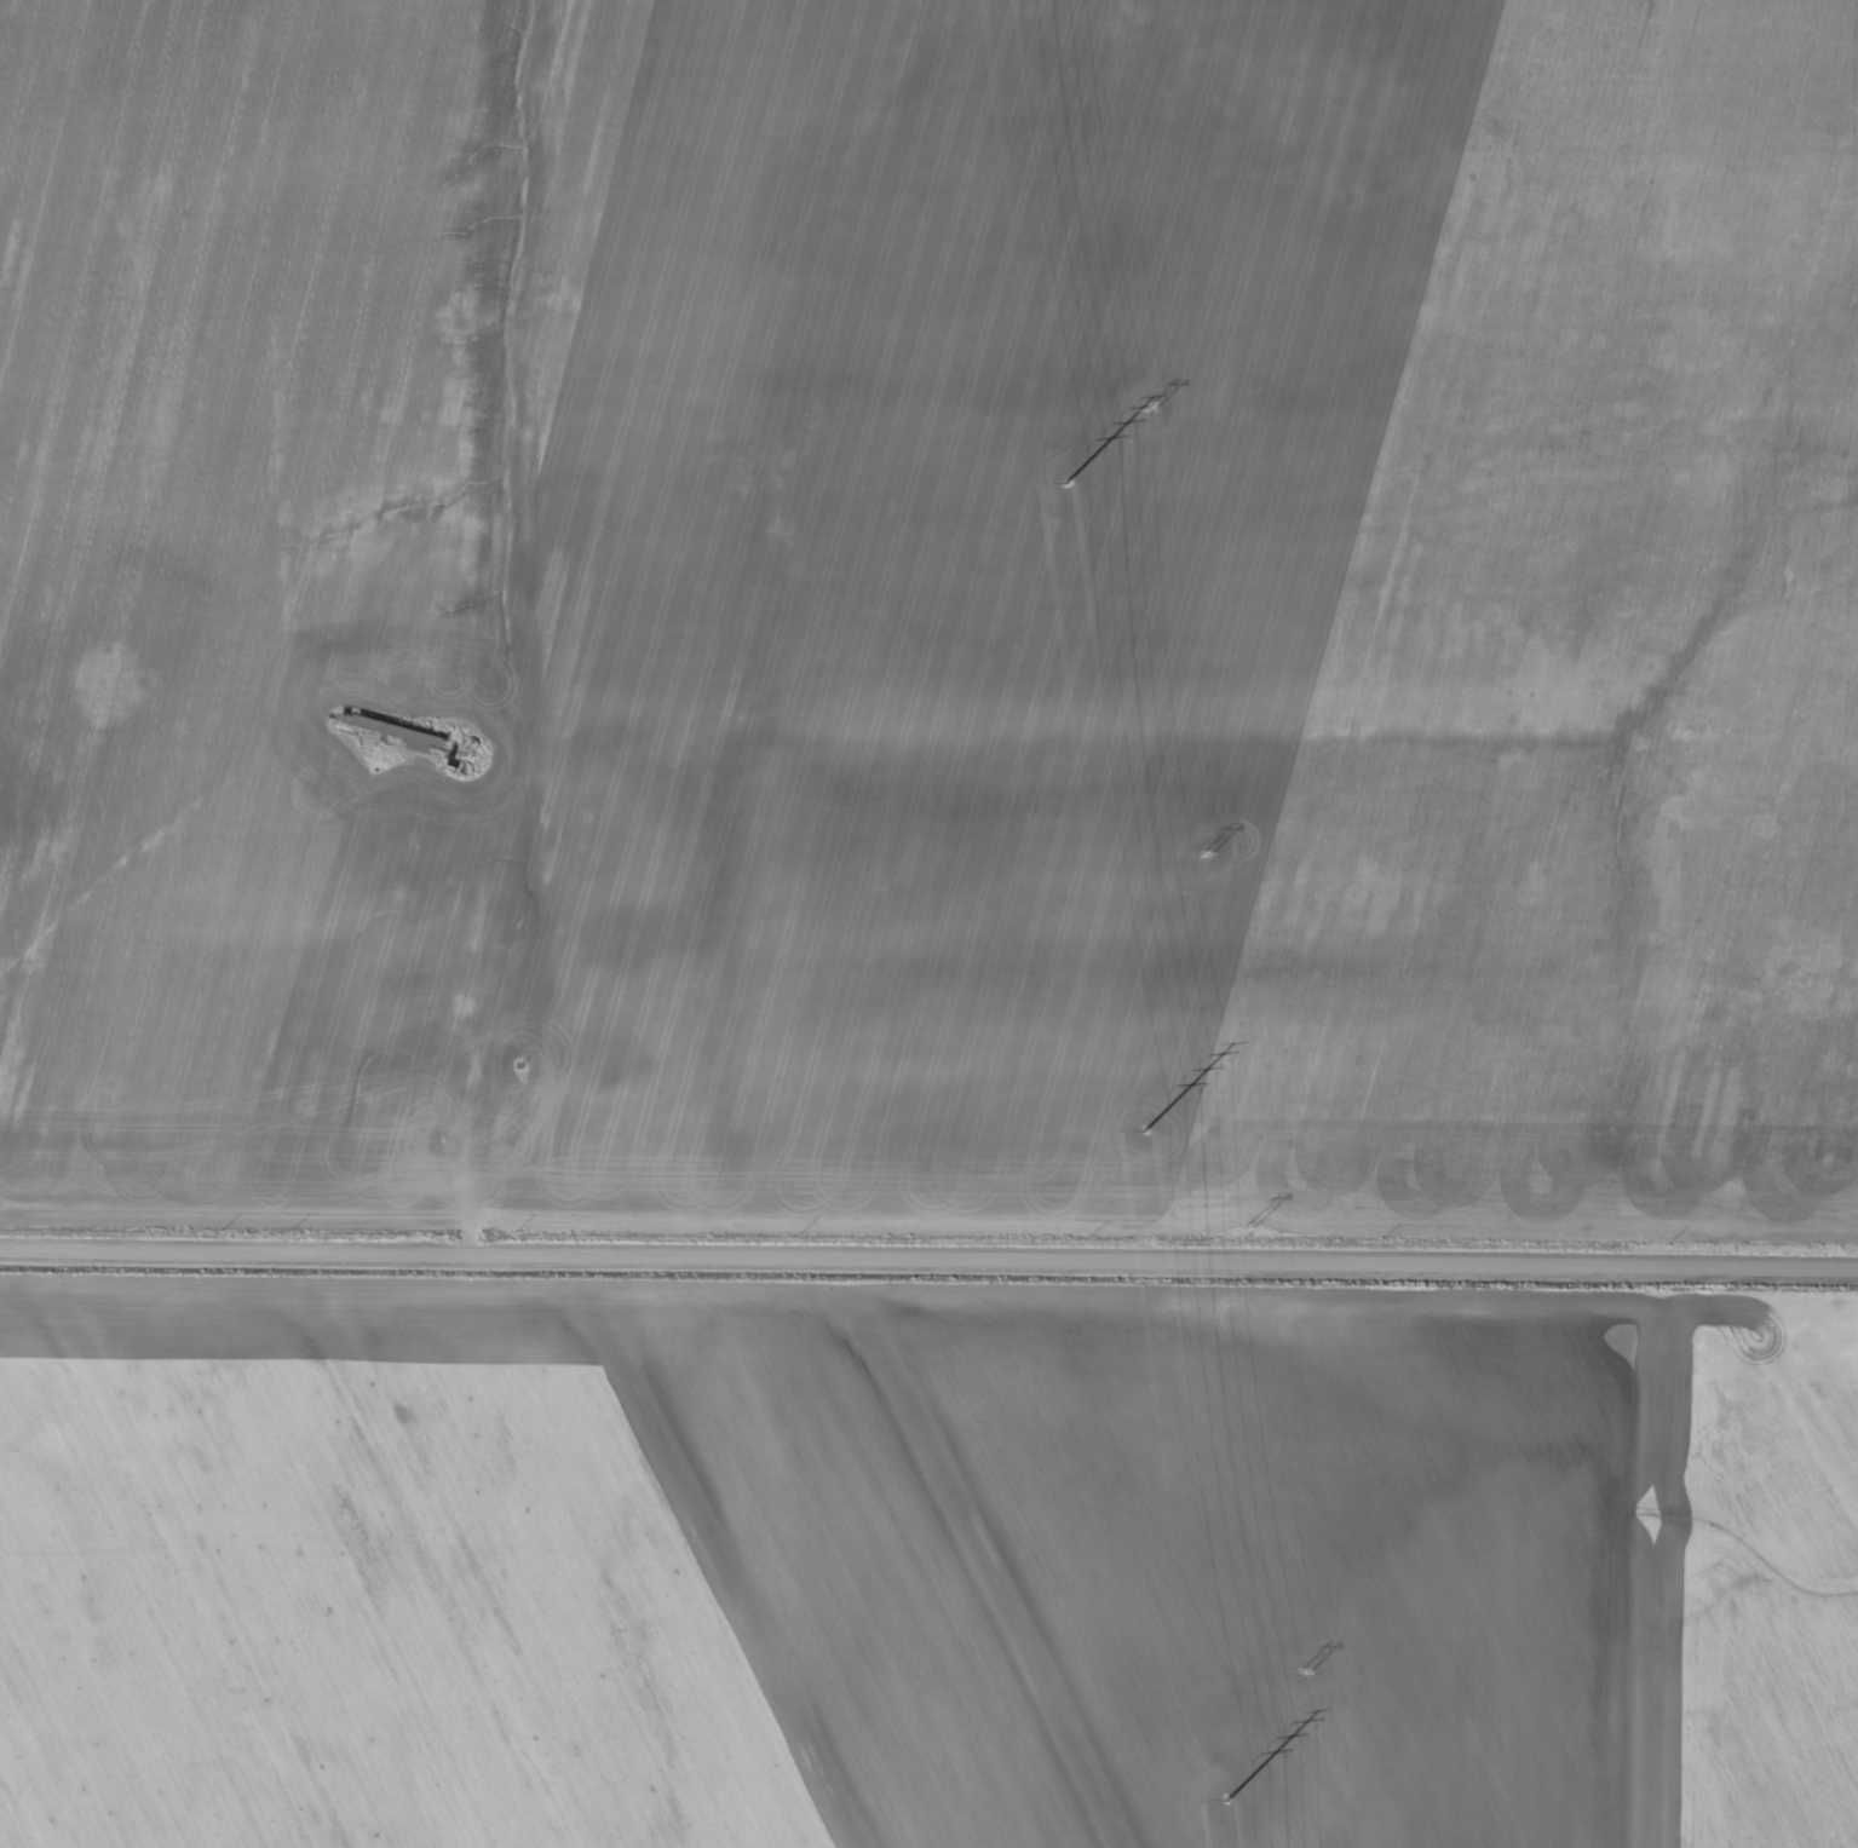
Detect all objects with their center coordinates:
power tower: (1150, 408)
power tower: (1066, 482)
power tower: (1204, 853)
power tower: (1145, 1130)
power tower: (1252, 1227)
road: (928, 1254)
power tower: (1305, 1670)
power tower: (1227, 1800)

